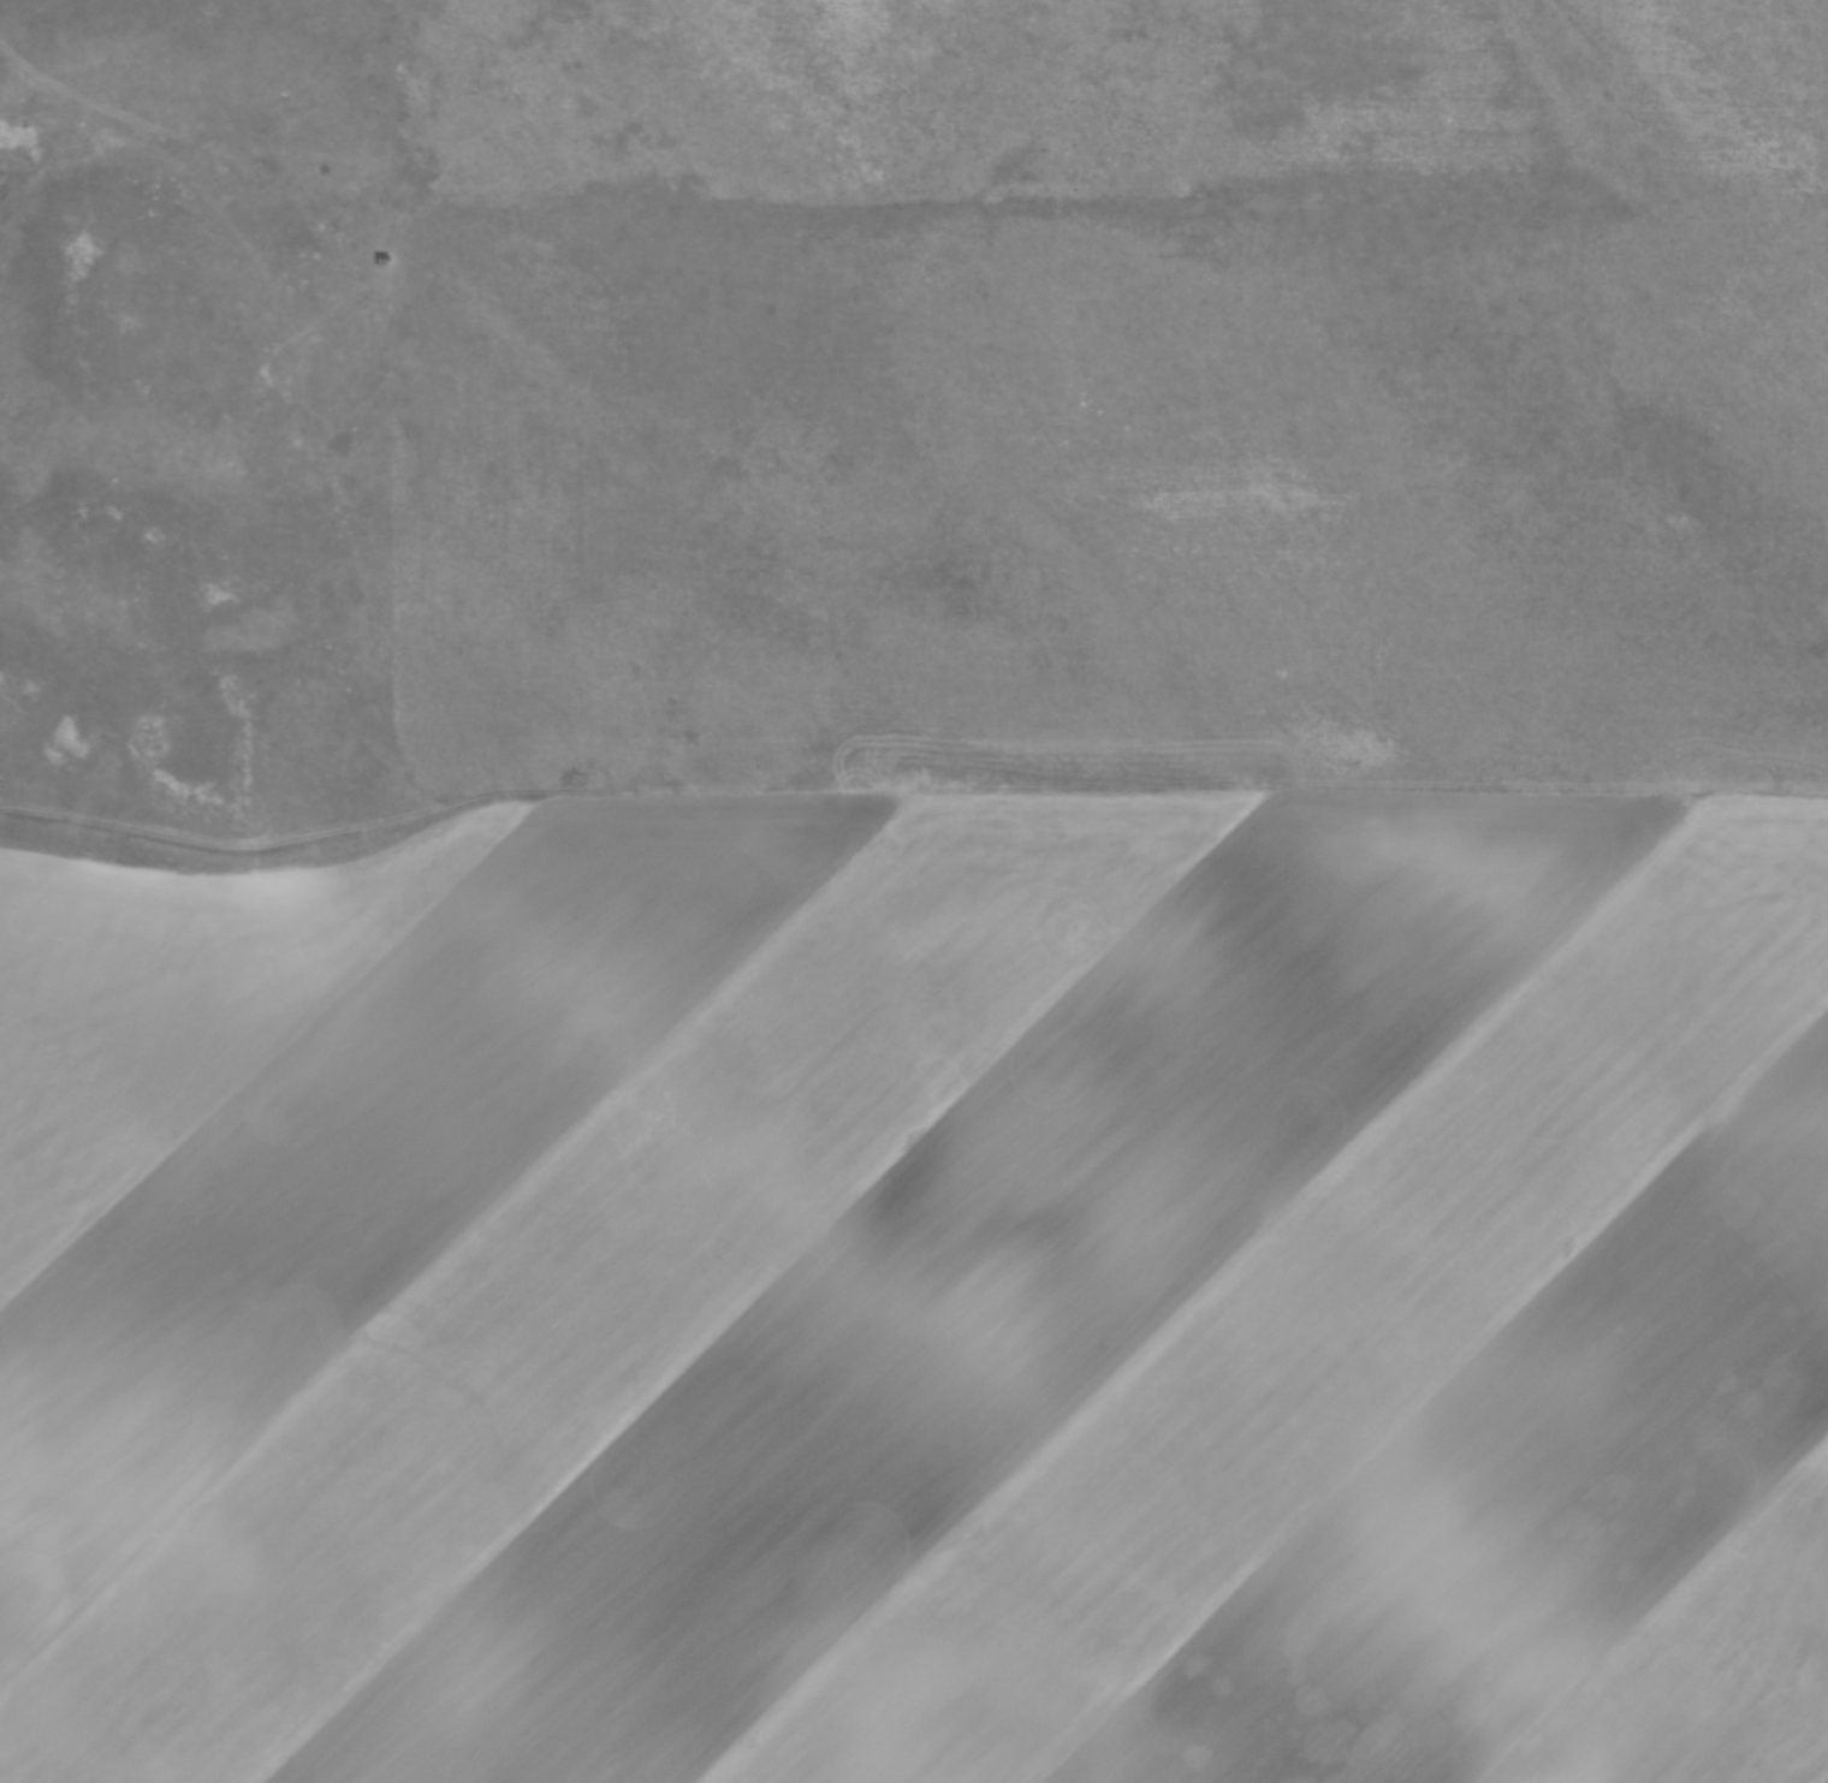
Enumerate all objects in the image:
crop: (925, 1294)

